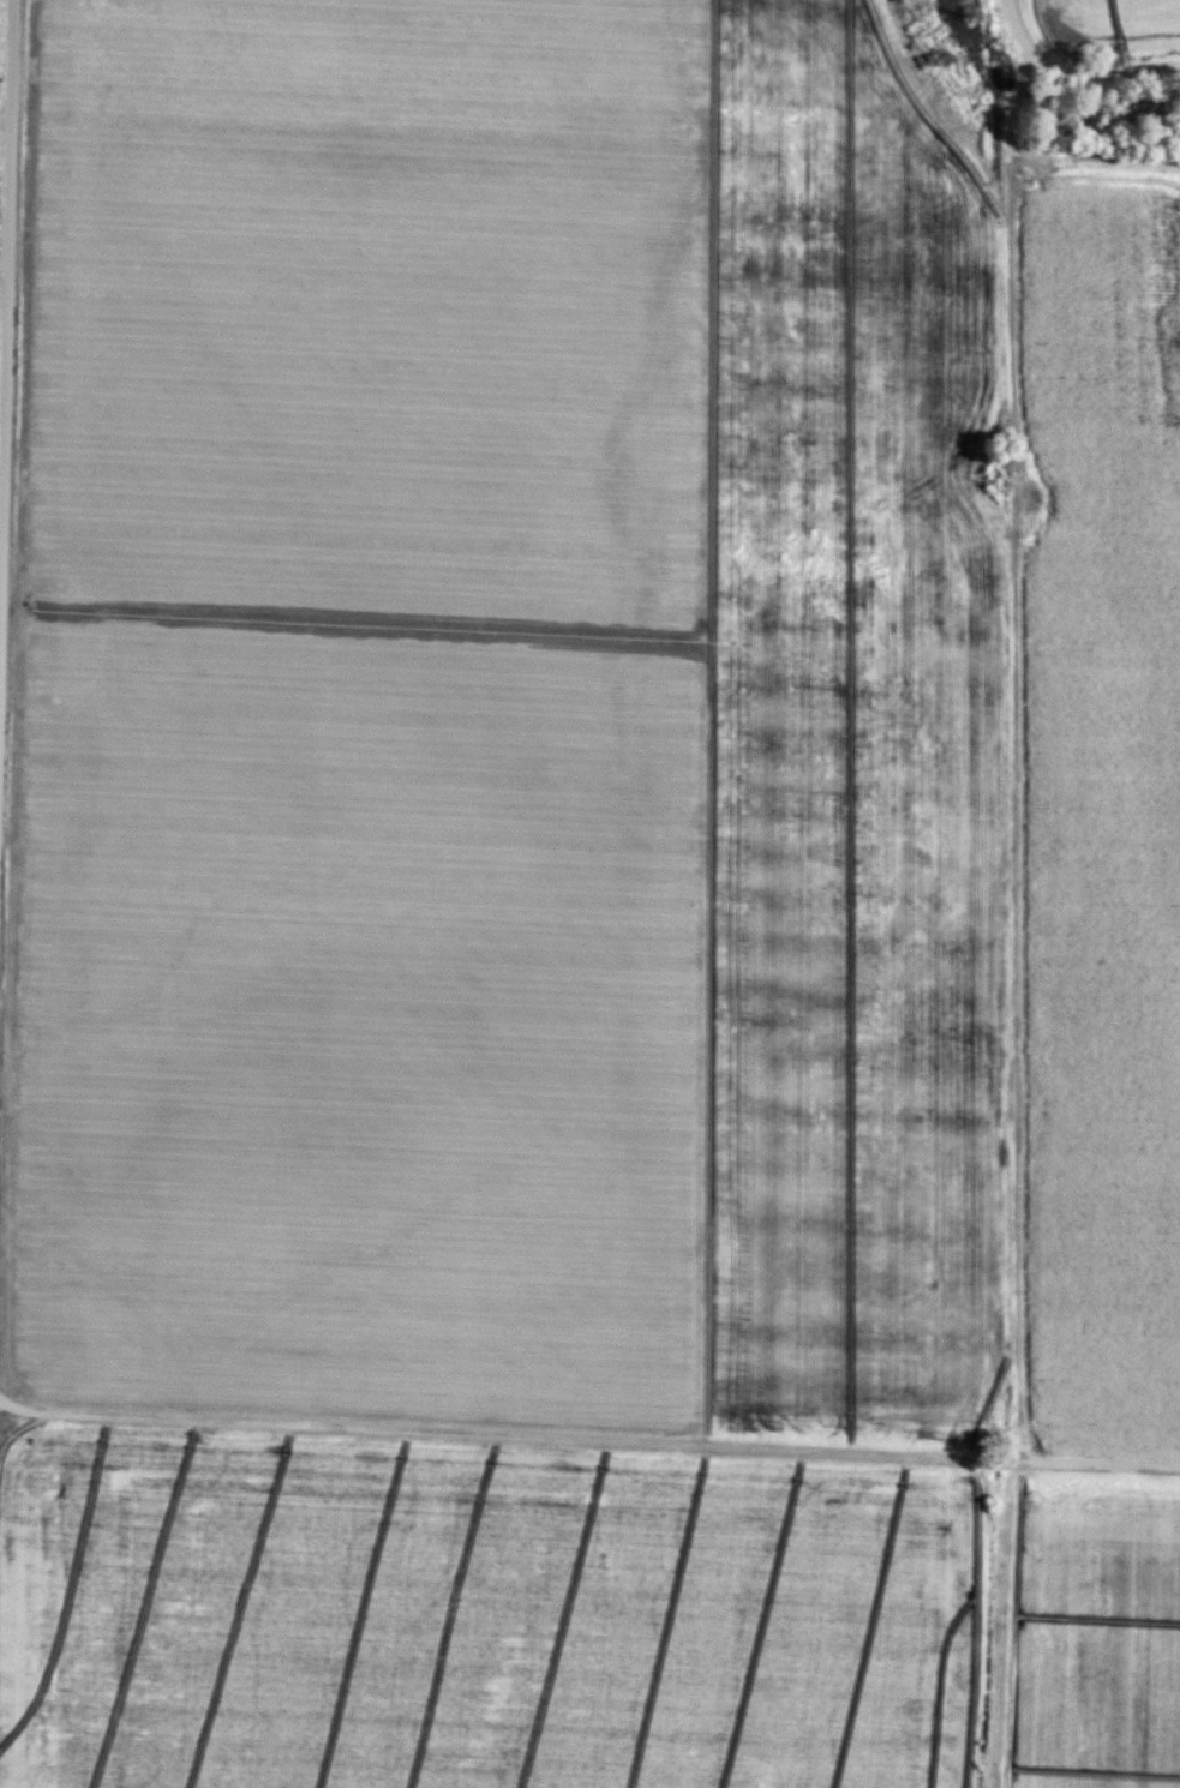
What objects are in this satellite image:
road: (1073, 71)
road: (6, 299)

